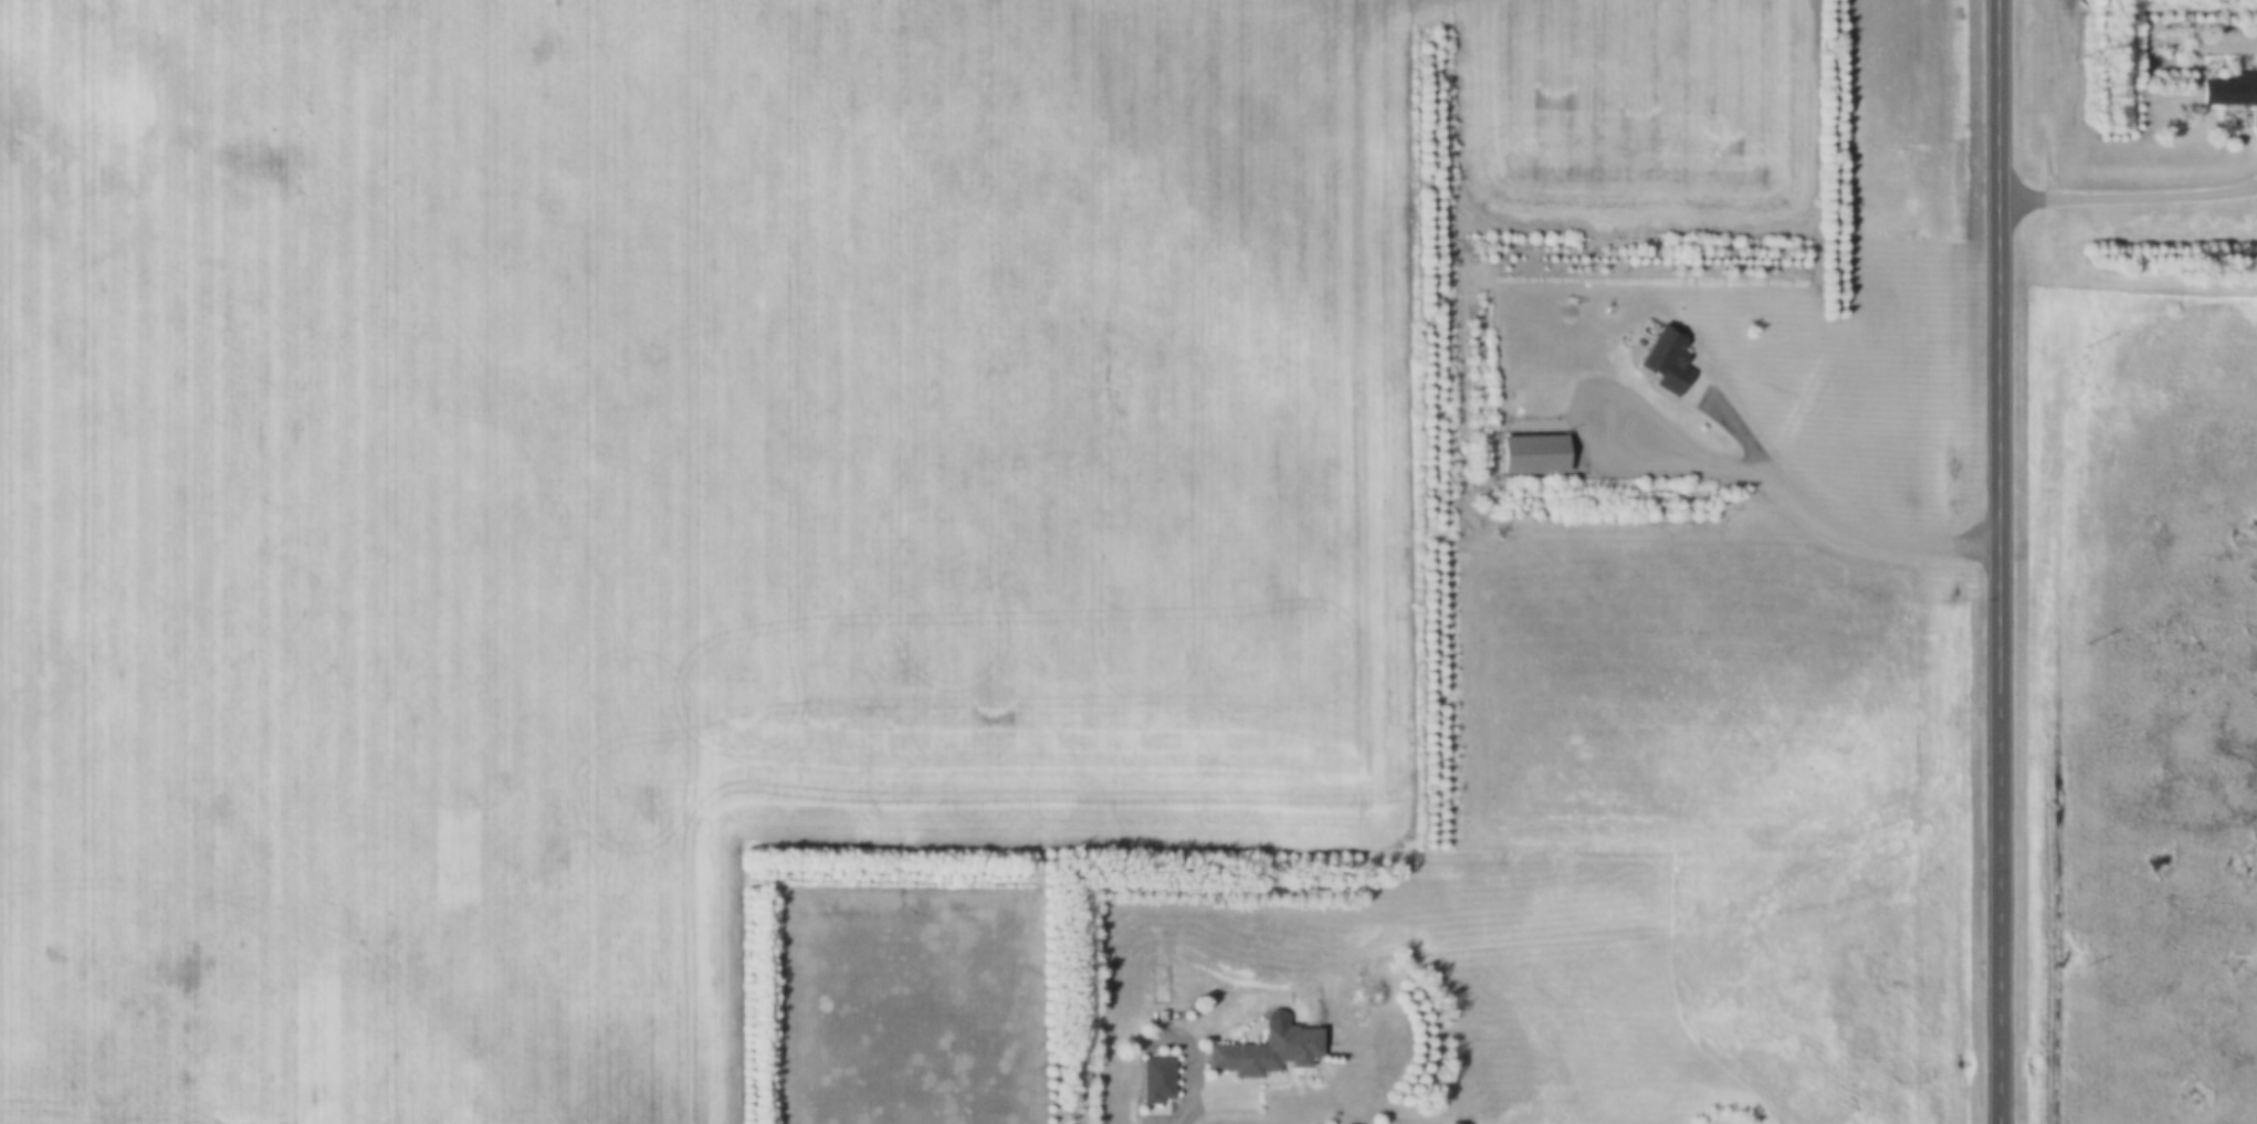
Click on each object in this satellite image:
building: (2230, 92)
road: (2128, 197)
building: (1671, 366)
building: (1536, 458)
road: (1996, 561)
building: (1270, 1051)
building: (1159, 1082)
road: (1189, 1112)

